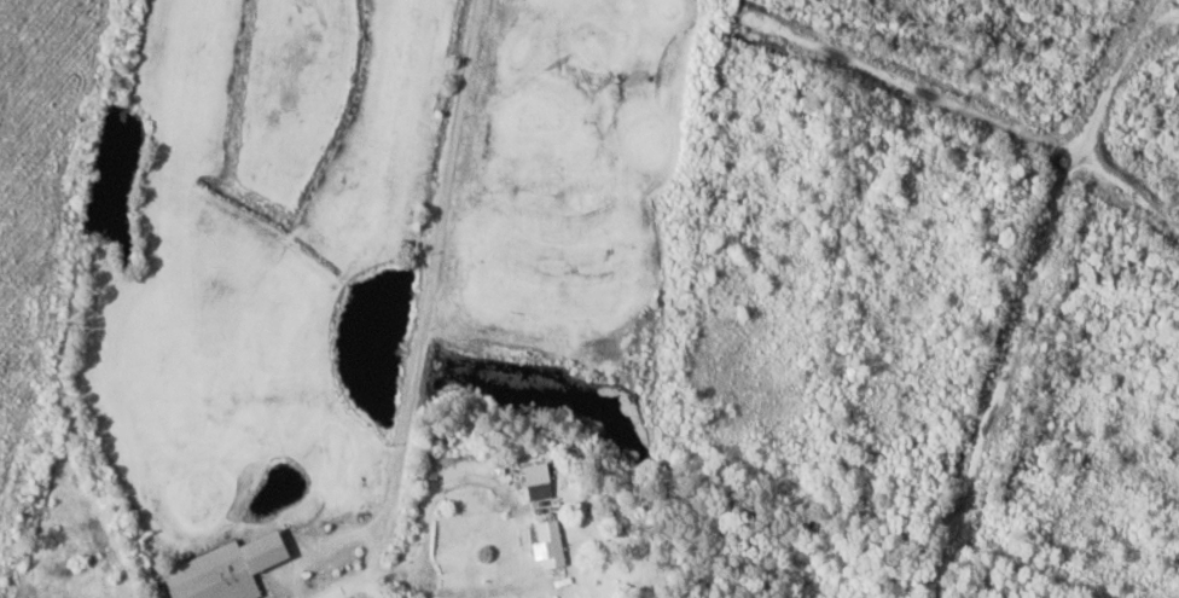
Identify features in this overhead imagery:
road: (440, 265)
building: (540, 482)
road: (344, 538)
building: (551, 546)
road: (362, 585)

